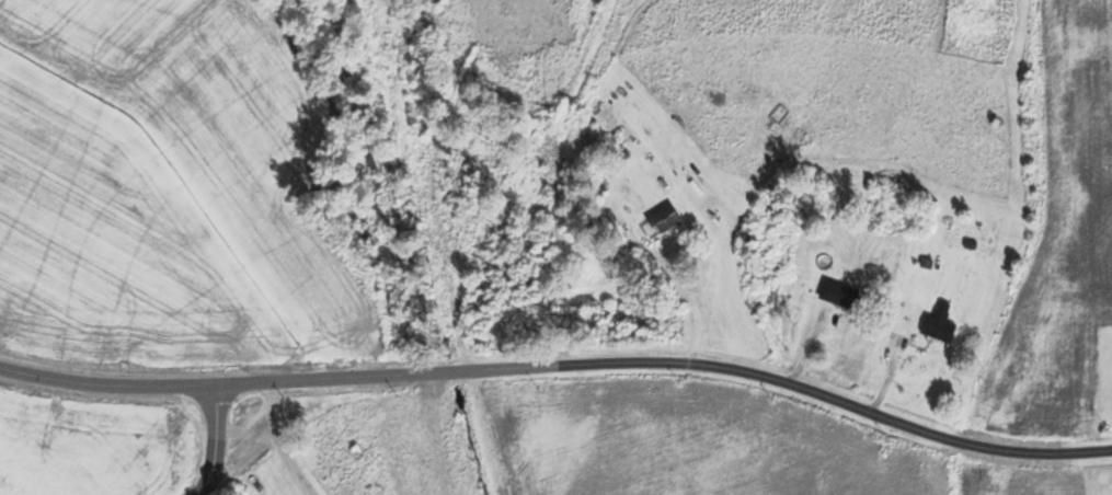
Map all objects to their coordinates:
building: (668, 219)
building: (845, 295)
building: (942, 324)
road: (561, 371)
road: (217, 442)

